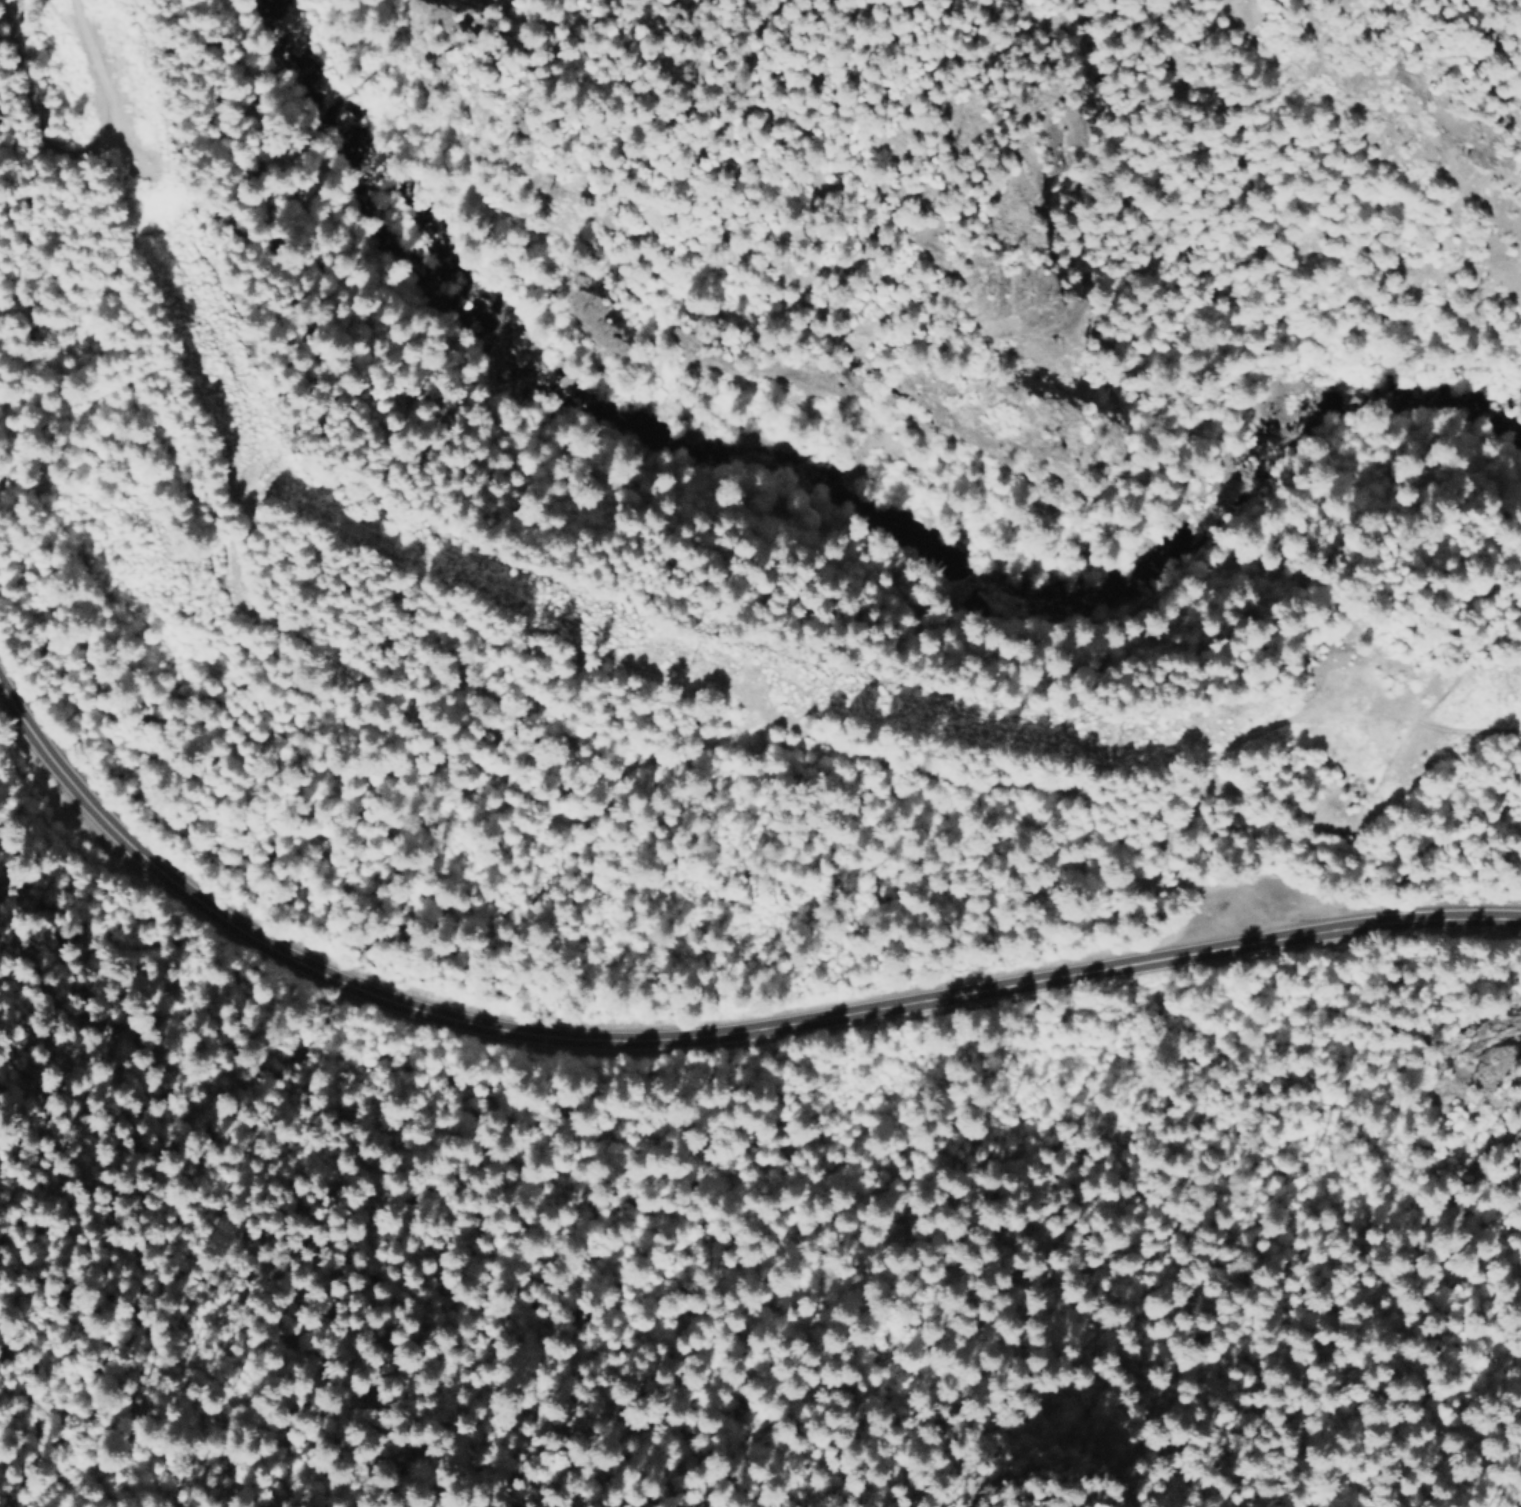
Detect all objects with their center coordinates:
road: (1508, 11)
river: (824, 529)
road: (708, 1037)

